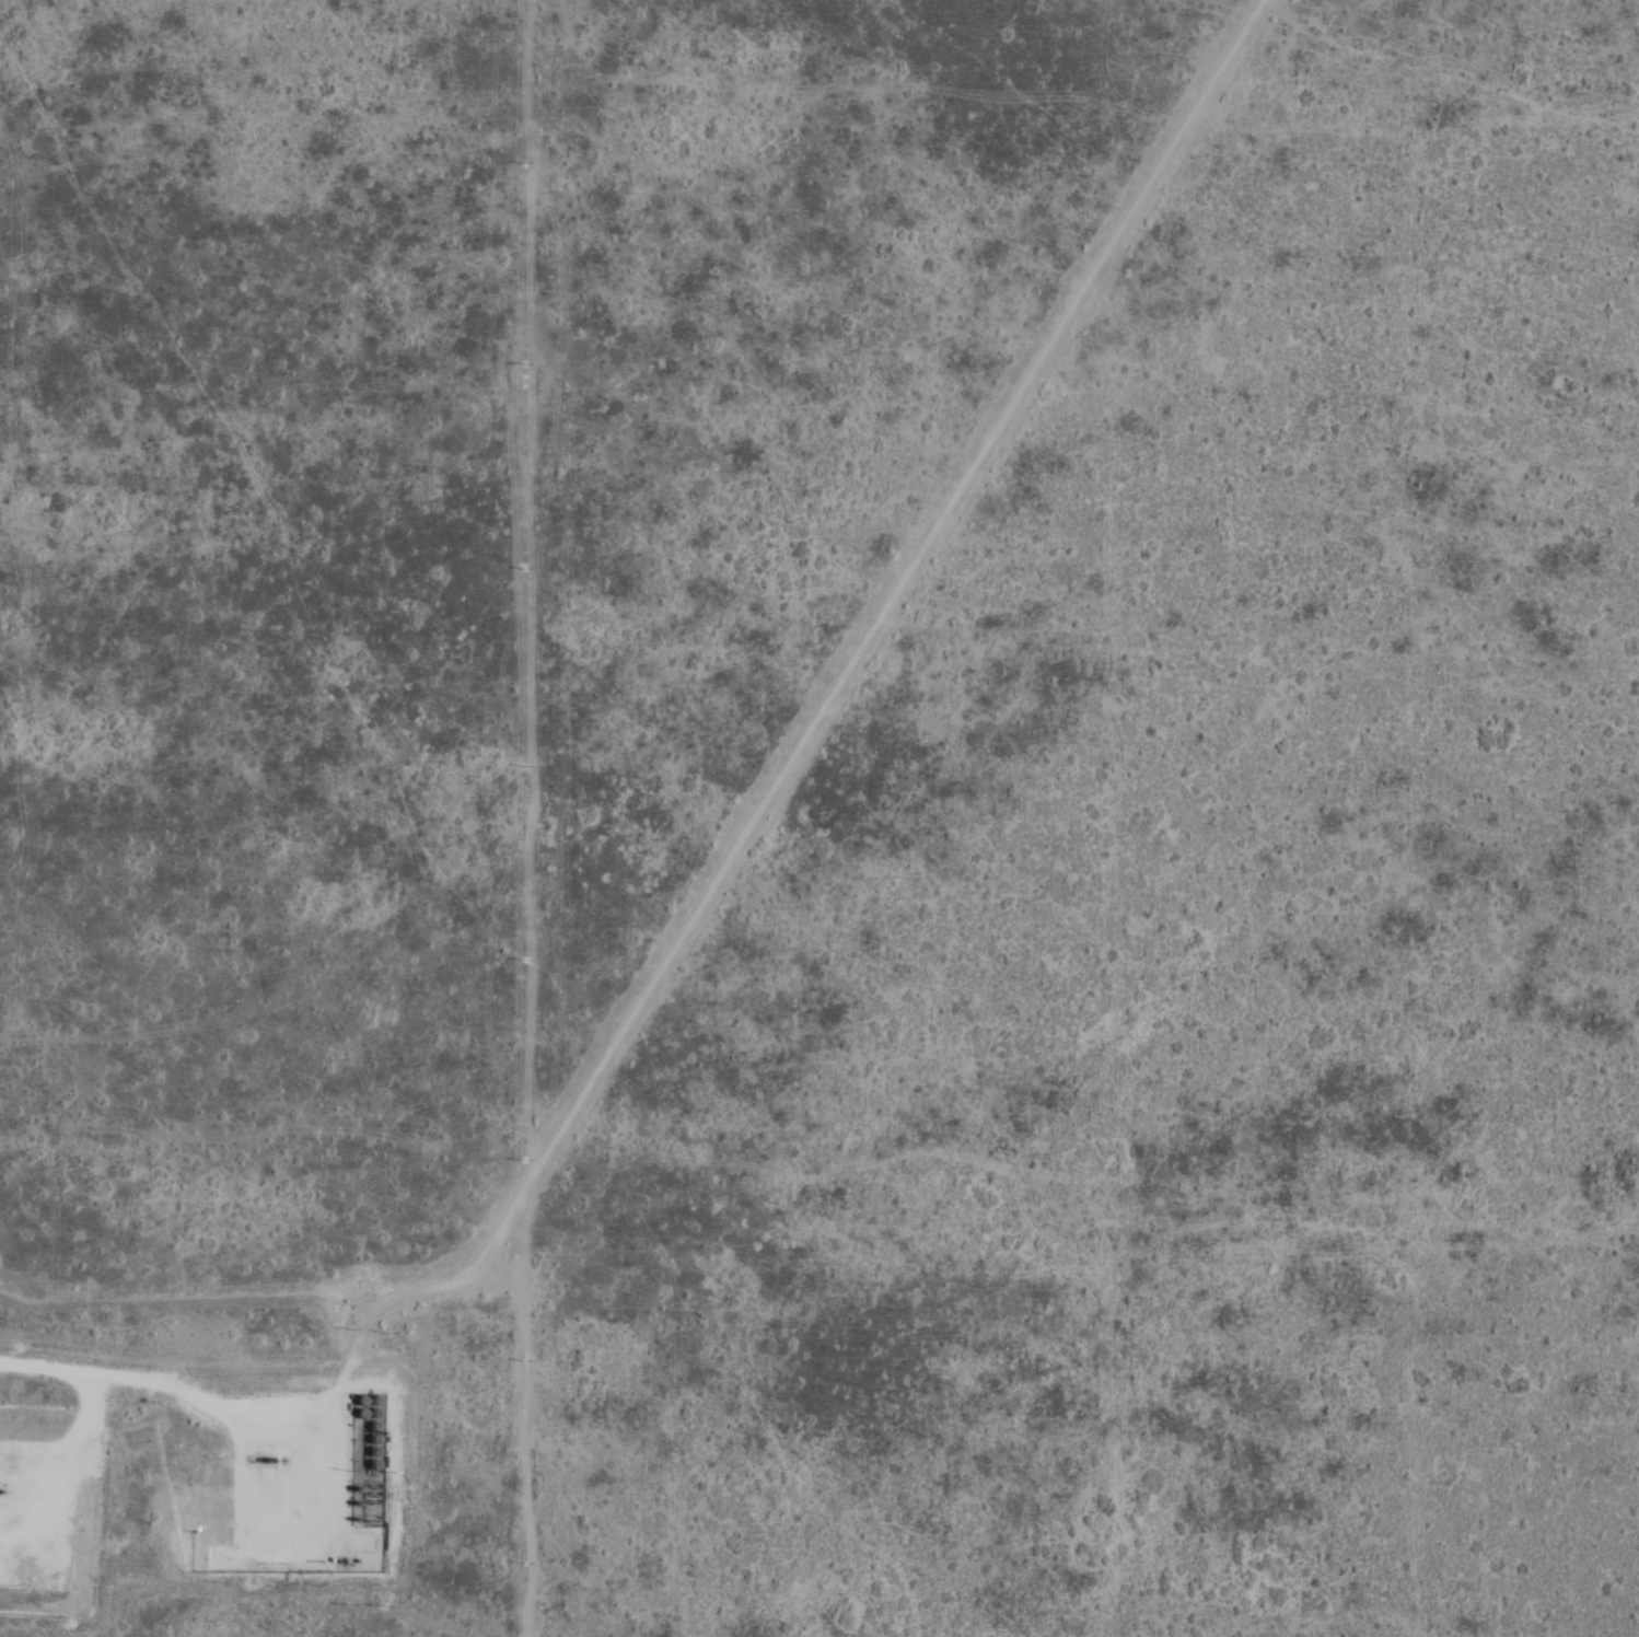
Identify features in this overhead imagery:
road: (779, 792)
road: (195, 1395)

